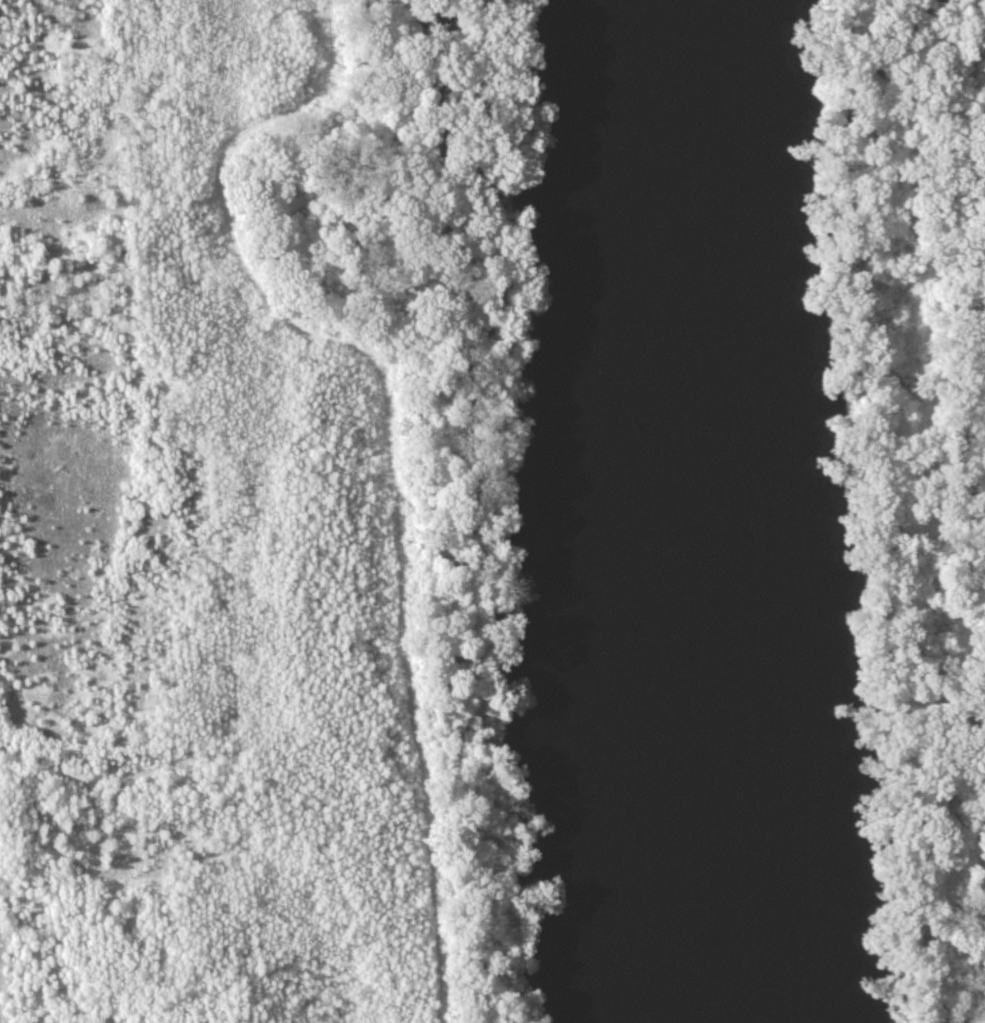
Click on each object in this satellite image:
river: (697, 511)

